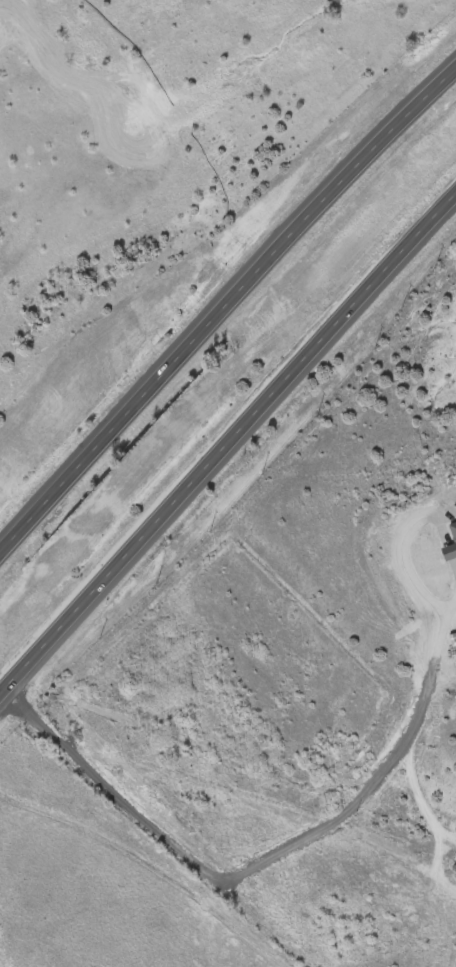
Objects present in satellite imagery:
road: (225, 306)
road: (227, 440)
building: (453, 532)
road: (410, 756)
road: (153, 854)
road: (440, 865)

